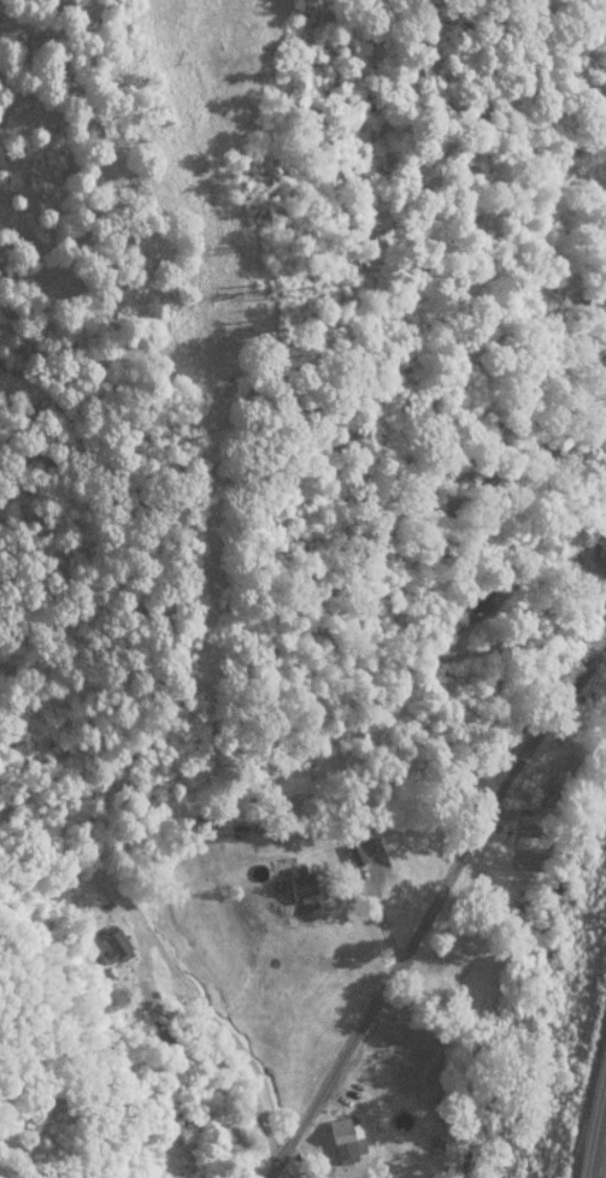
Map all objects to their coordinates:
building: (471, 601)
building: (488, 754)
building: (460, 782)
building: (208, 829)
building: (352, 850)
road: (433, 911)
building: (113, 941)
building: (343, 1139)
road: (600, 1139)

